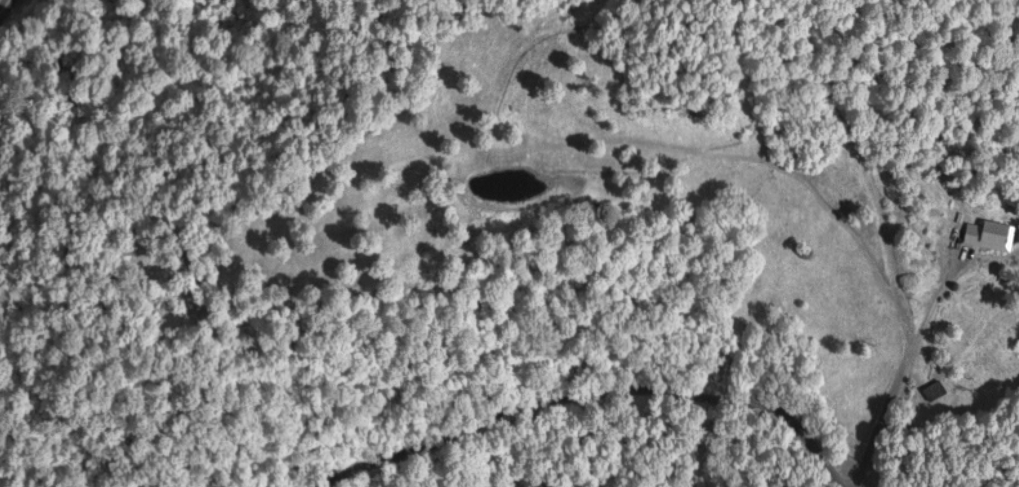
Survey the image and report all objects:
road: (6, 9)
road: (849, 87)
building: (984, 236)
building: (932, 392)
road: (548, 401)
road: (813, 452)

